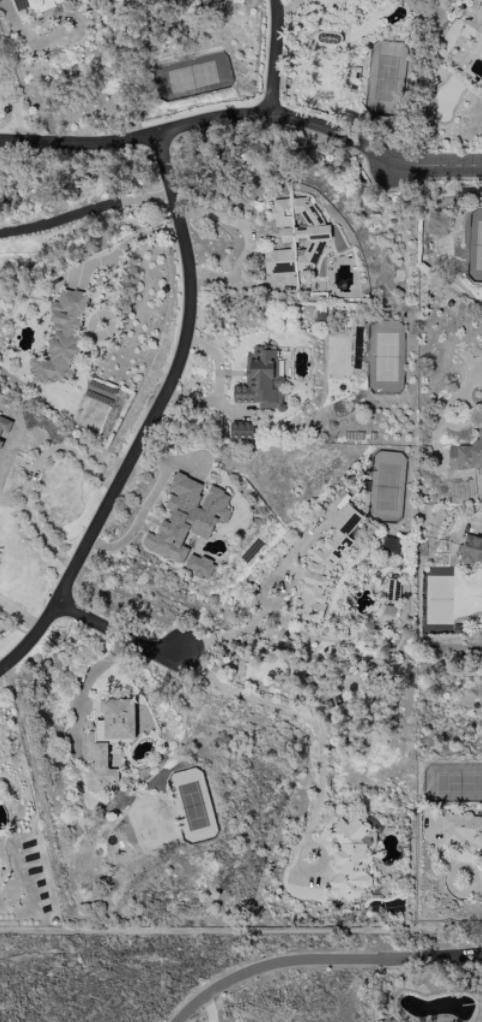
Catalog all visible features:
building: (36, 4)
building: (326, 4)
road: (287, 6)
building: (474, 30)
road: (272, 56)
road: (36, 67)
building: (354, 75)
road: (276, 114)
road: (434, 166)
road: (86, 214)
building: (296, 237)
road: (247, 241)
road: (121, 250)
road: (108, 334)
building: (61, 338)
road: (183, 346)
building: (0, 357)
building: (262, 380)
road: (468, 386)
building: (481, 390)
building: (5, 424)
building: (242, 431)
building: (1, 444)
building: (466, 456)
road: (26, 475)
building: (187, 517)
building: (389, 545)
building: (471, 549)
building: (325, 564)
building: (200, 566)
road: (20, 615)
road: (115, 635)
road: (217, 638)
road: (305, 719)
building: (107, 739)
building: (462, 831)
road: (435, 847)
building: (350, 860)
road: (452, 877)
road: (475, 888)
road: (181, 929)
road: (422, 930)
road: (362, 945)
road: (320, 962)
road: (207, 1009)

